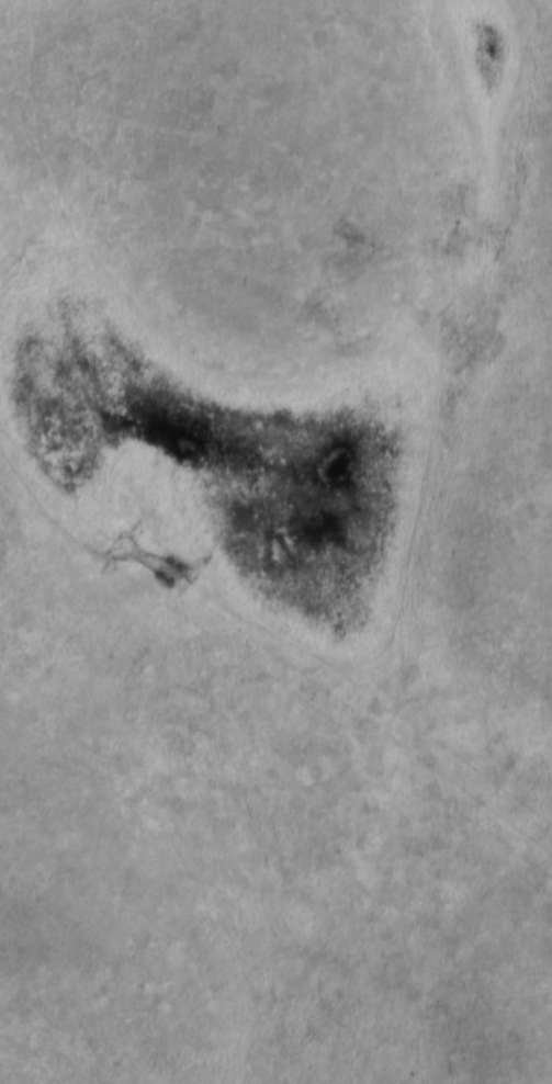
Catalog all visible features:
power tower: (164, 571)

